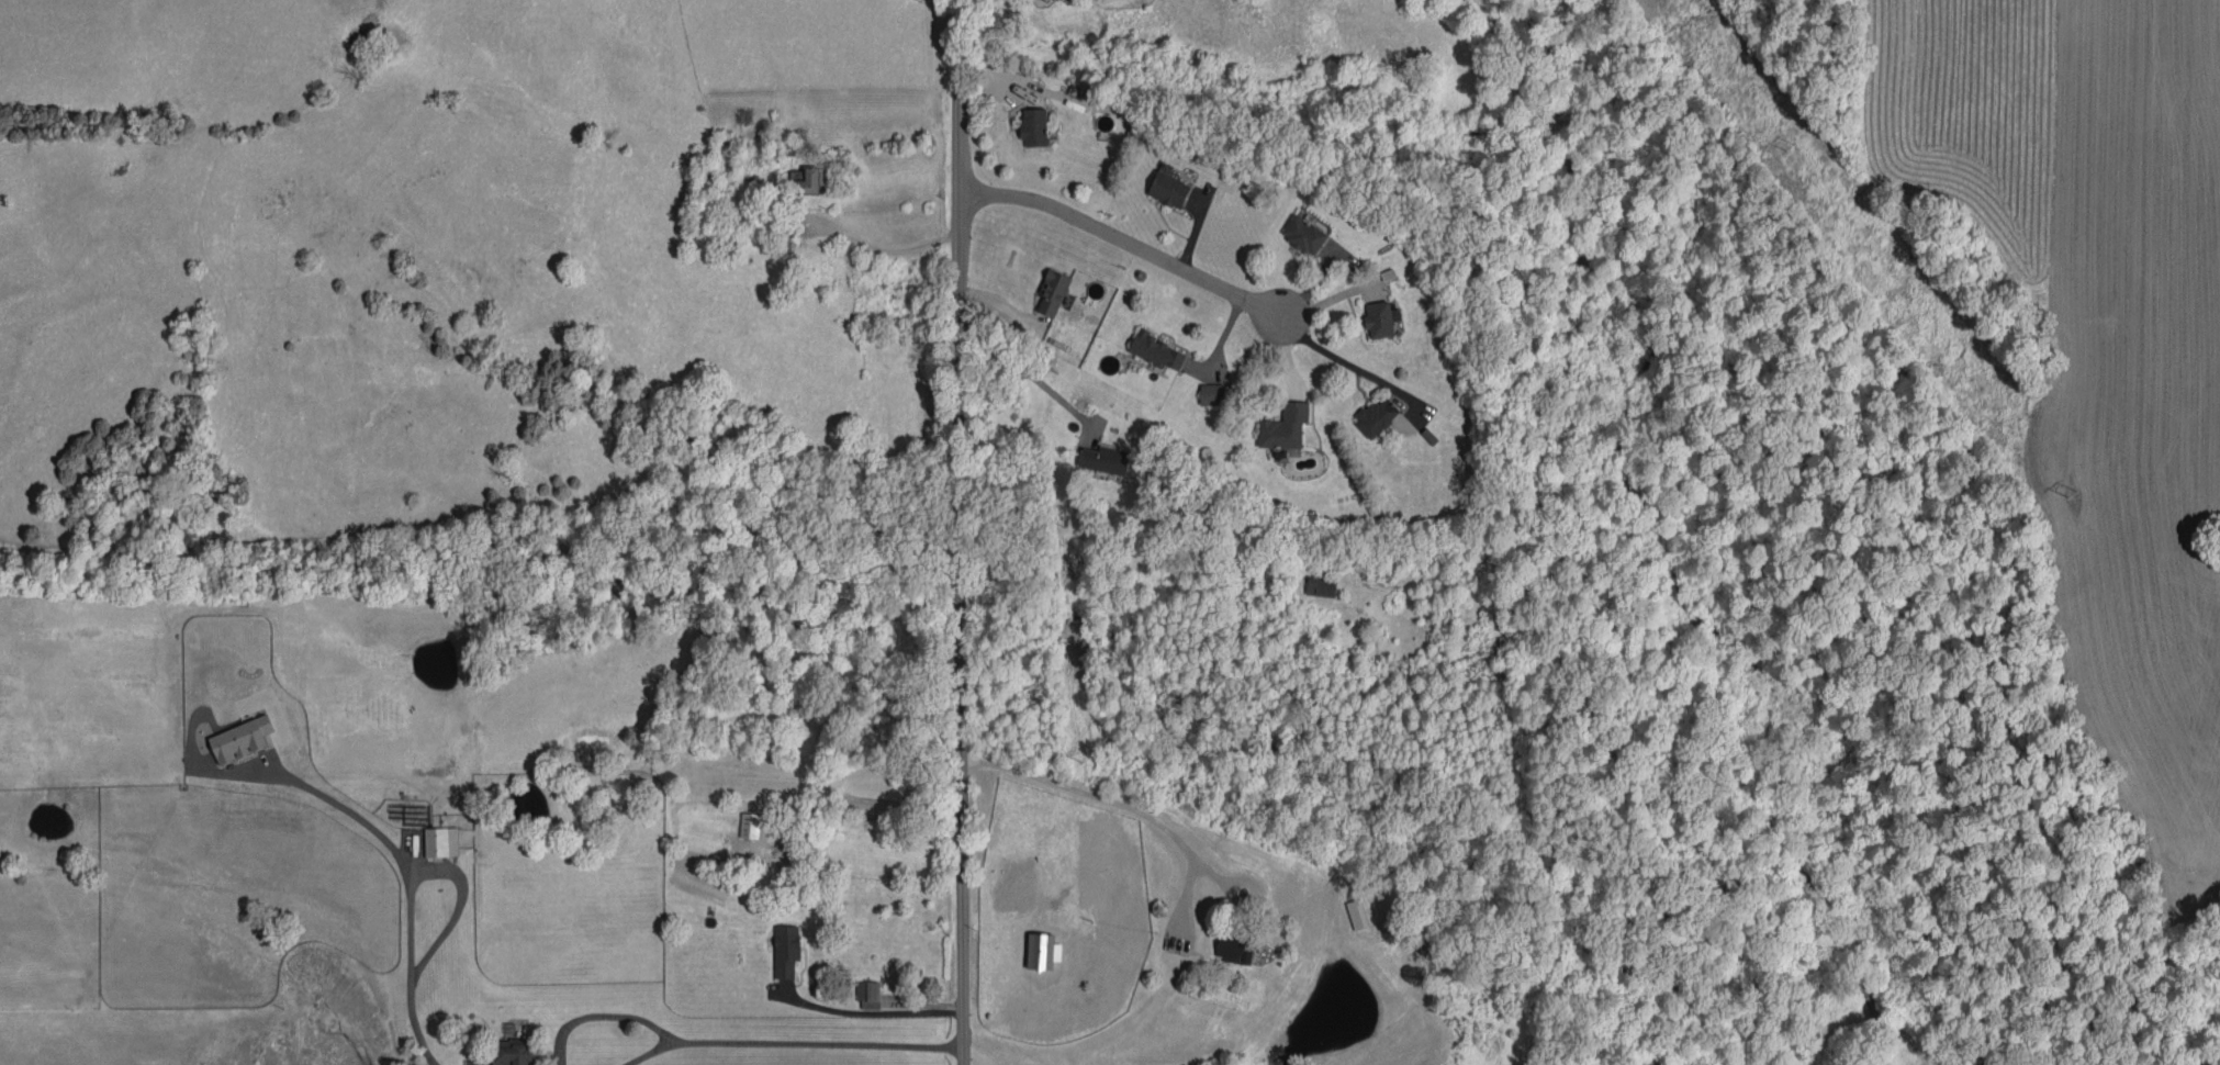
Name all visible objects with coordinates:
building: (1131, 117)
building: (1034, 126)
power tower: (1785, 144)
building: (808, 180)
building: (1169, 189)
building: (1303, 234)
road: (1132, 245)
road: (883, 253)
building: (1053, 292)
building: (1379, 319)
building: (1156, 351)
road: (1019, 368)
road: (1369, 372)
building: (1212, 393)
building: (1376, 416)
building: (1285, 427)
building: (1106, 459)
power tower: (2070, 491)
road: (956, 532)
building: (242, 739)
building: (754, 826)
building: (441, 841)
building: (786, 950)
building: (1234, 950)
building: (1042, 951)
building: (868, 995)
road: (872, 1010)
road: (599, 1012)
road: (1092, 1039)
road: (817, 1041)
building: (515, 1052)
road: (647, 1052)

